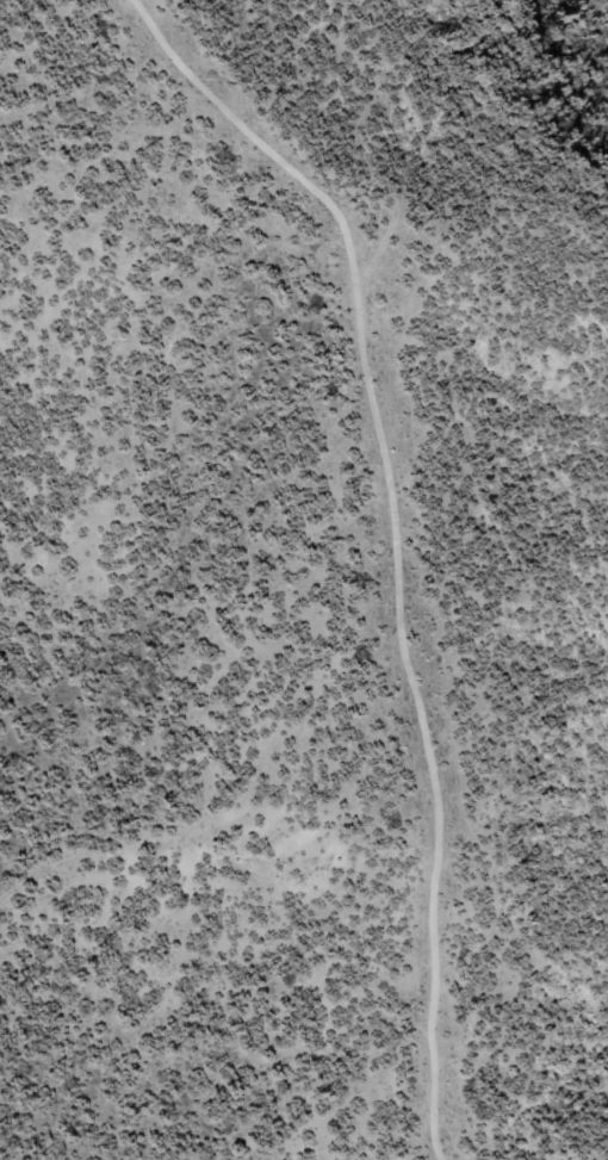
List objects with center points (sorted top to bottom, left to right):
road: (399, 542)

